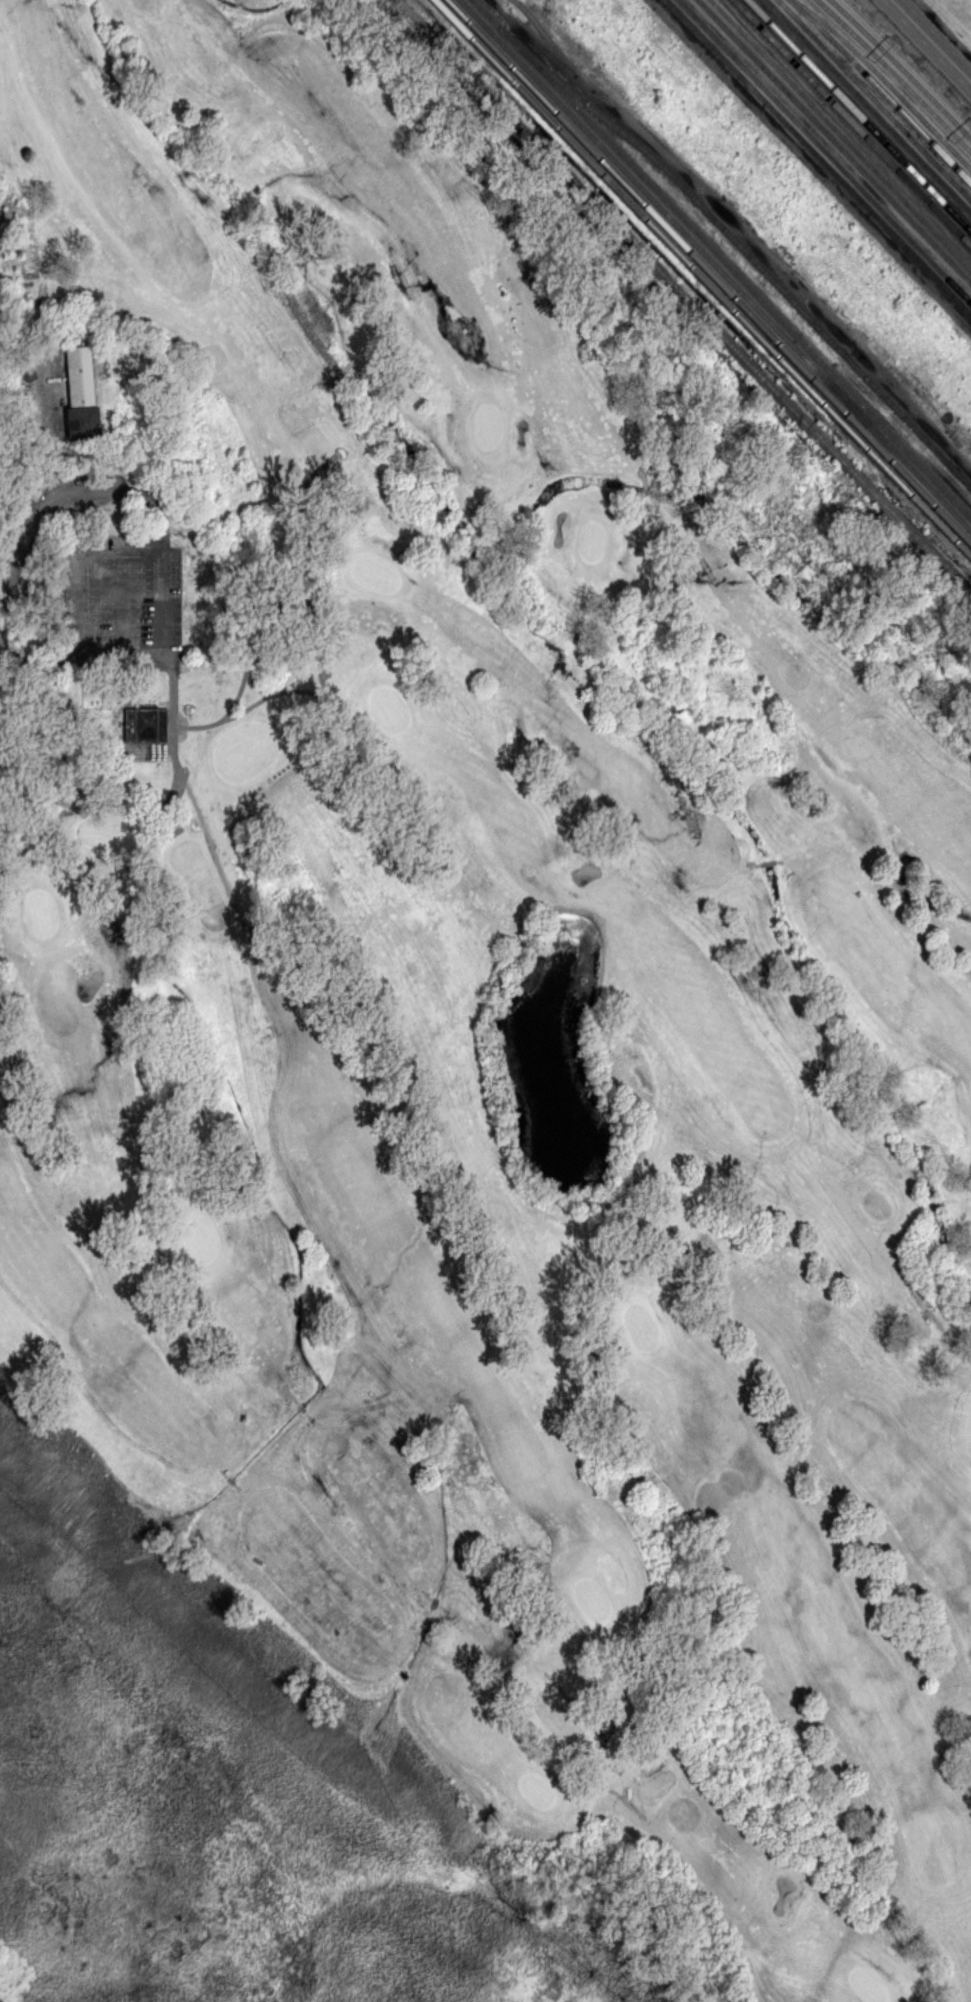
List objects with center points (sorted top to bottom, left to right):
road: (932, 39)
railway: (909, 61)
railway: (901, 68)
railway: (895, 74)
railway: (885, 82)
railway: (881, 89)
railway: (875, 98)
railway: (868, 106)
railway: (859, 115)
railway: (853, 122)
railway: (841, 134)
railway: (834, 141)
railway: (824, 151)
railway: (819, 157)
railway: (679, 241)
railway: (720, 259)
railway: (715, 265)
railway: (702, 277)
railway: (685, 297)
road: (340, 371)
parking lot: (37, 387)
building: (84, 395)
road: (41, 416)
park: (488, 428)
railway: (869, 432)
road: (642, 476)
railway: (919, 490)
road: (644, 491)
road: (80, 494)
road: (469, 518)
railway: (948, 520)
railway: (948, 524)
road: (453, 525)
road: (434, 534)
road: (676, 534)
park: (593, 543)
park: (376, 573)
road: (284, 586)
parking lot: (117, 602)
road: (289, 604)
road: (120, 606)
road: (320, 637)
road: (162, 660)
road: (250, 706)
park: (388, 707)
building: (147, 725)
road: (147, 752)
road: (201, 819)
road: (780, 860)
road: (768, 862)
road: (756, 864)
park: (41, 913)
park: (484, 992)
road: (932, 1202)
road: (147, 1218)
park: (195, 1232)
road: (695, 1265)
road: (931, 1312)
park: (641, 1325)
road: (295, 1395)
road: (302, 1403)
road: (309, 1412)
road: (221, 1470)
road: (230, 1479)
road: (238, 1488)
road: (427, 1591)
park: (593, 1597)
road: (436, 1600)
road: (448, 1609)
road: (393, 1667)
road: (402, 1674)
road: (414, 1683)
road: (594, 1725)
road: (603, 1786)
park: (538, 1787)
park: (869, 1985)

